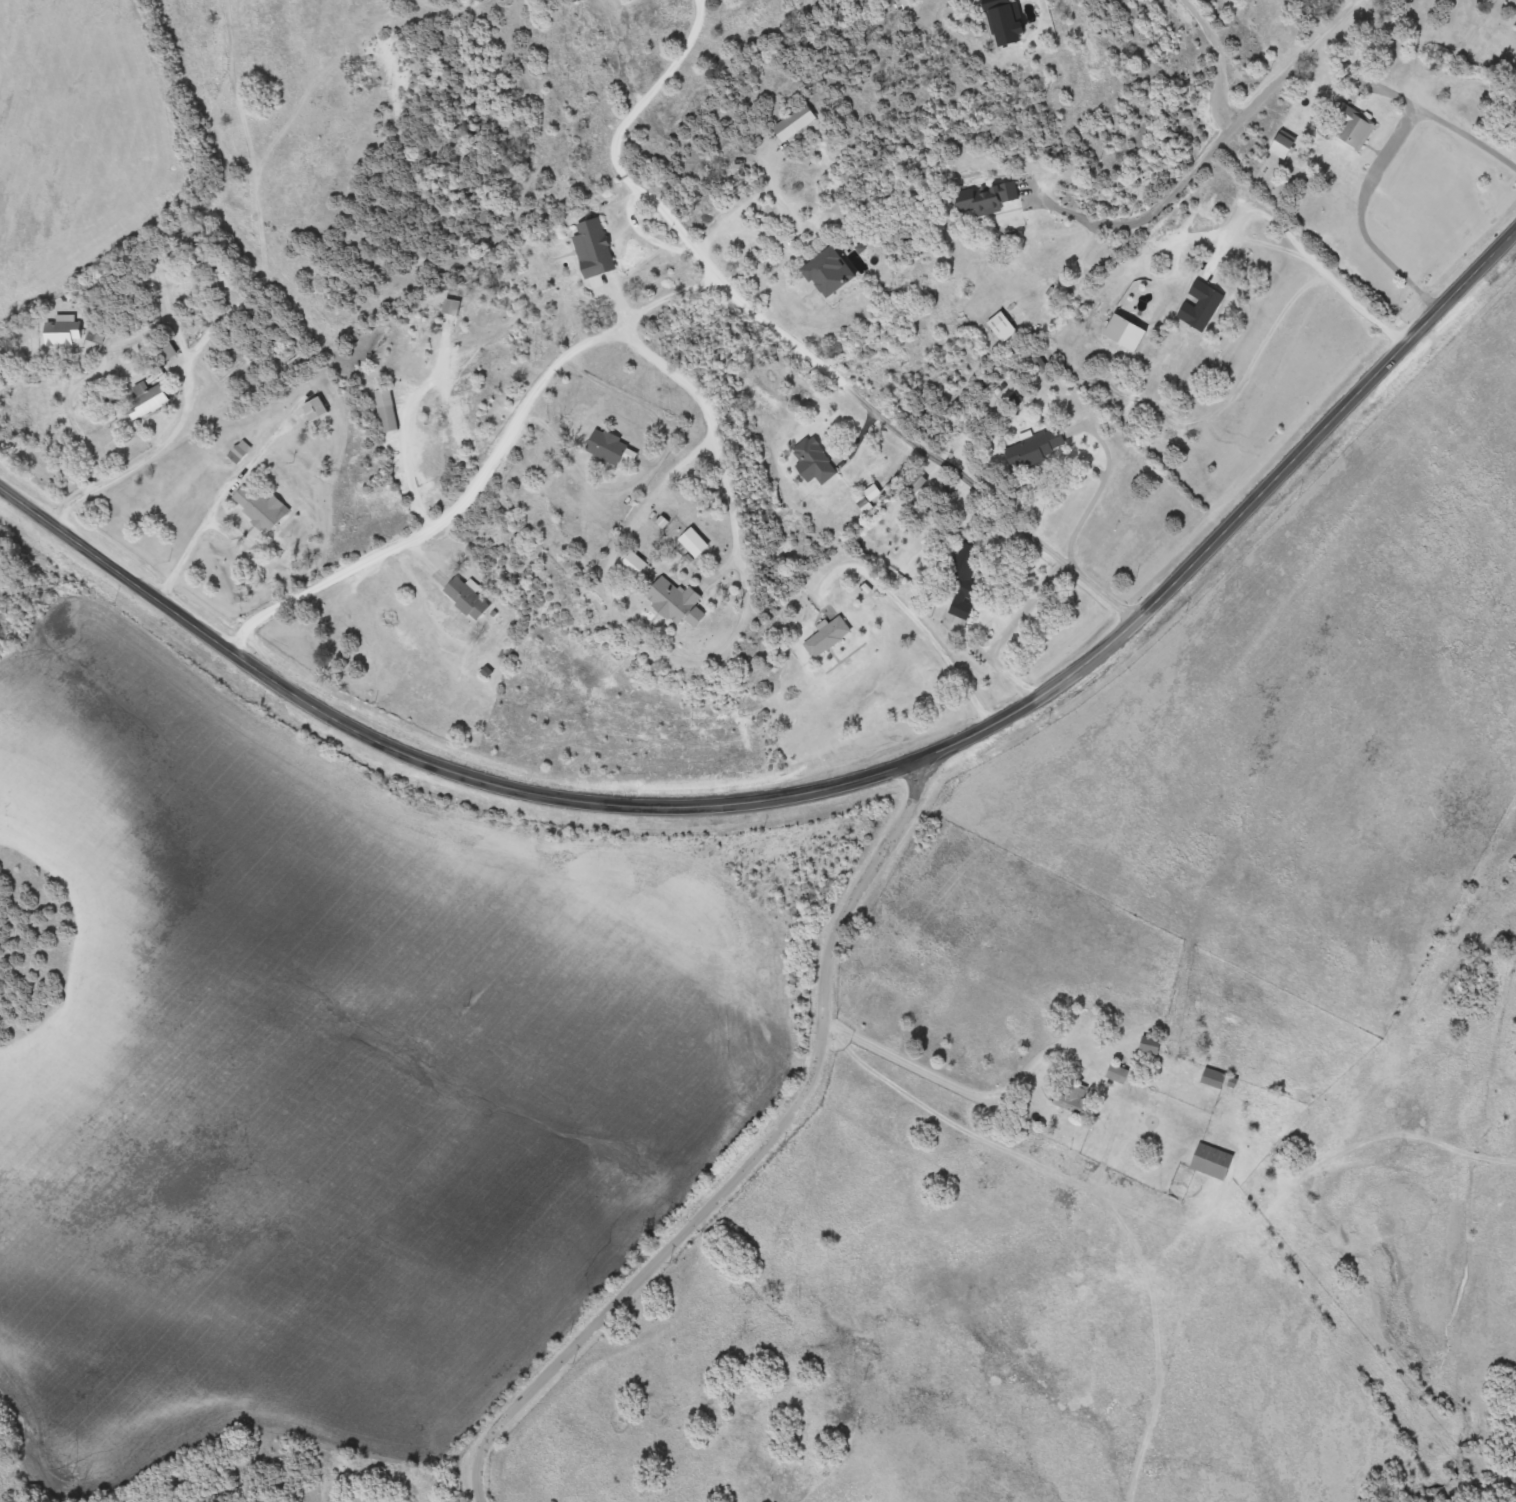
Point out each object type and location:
road: (698, 1)
road: (699, 1)
road: (654, 90)
building: (794, 123)
building: (1348, 127)
road: (1221, 138)
building: (1283, 144)
building: (994, 198)
road: (679, 221)
building: (596, 249)
building: (829, 272)
building: (216, 278)
road: (675, 293)
building: (1201, 306)
building: (452, 307)
building: (1002, 327)
building: (63, 331)
building: (147, 400)
building: (317, 409)
building: (388, 410)
building: (607, 447)
building: (1035, 449)
building: (814, 461)
building: (917, 482)
building: (260, 506)
building: (636, 565)
building: (964, 578)
building: (467, 598)
building: (677, 603)
building: (827, 637)
road: (818, 788)
building: (1150, 1045)
building: (1118, 1073)
building: (1213, 1078)
building: (1245, 1089)
building: (1073, 1098)
road: (765, 1156)
building: (1212, 1161)

